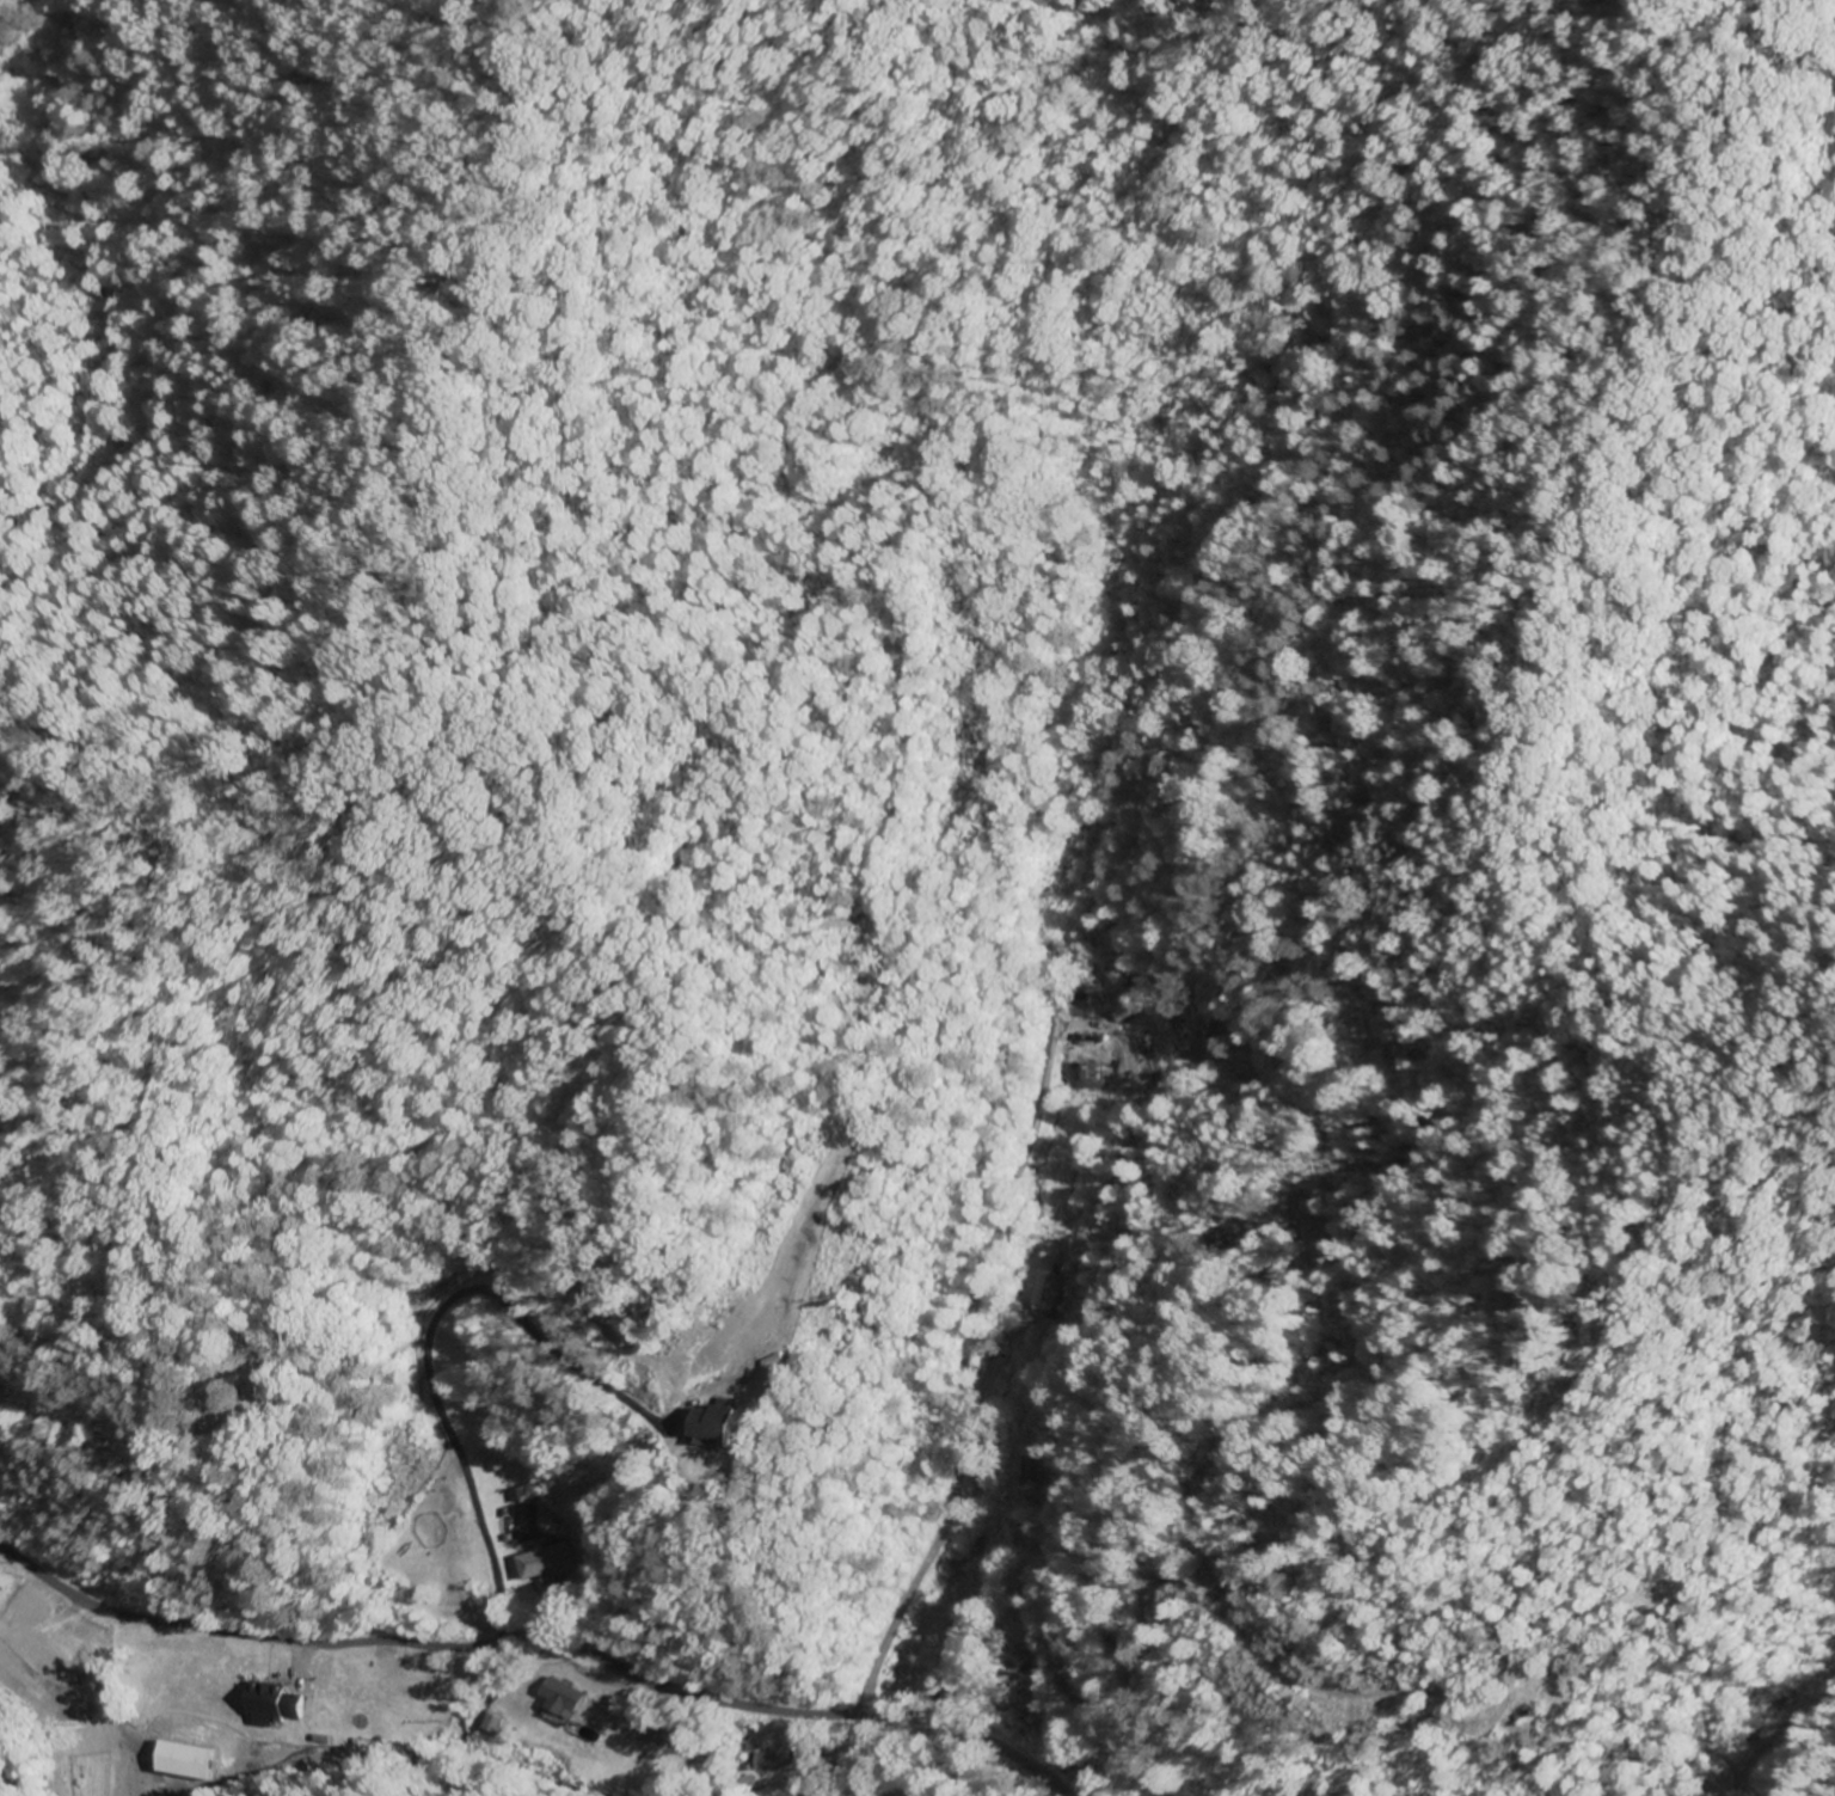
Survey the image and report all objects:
building: (1116, 987)
building: (1146, 1058)
building: (1042, 1281)
road: (959, 1375)
building: (725, 1427)
building: (1020, 1471)
building: (522, 1491)
building: (539, 1562)
road: (534, 1644)
building: (37, 1657)
building: (1011, 1669)
building: (558, 1698)
building: (339, 1704)
building: (771, 1759)
building: (183, 1760)

